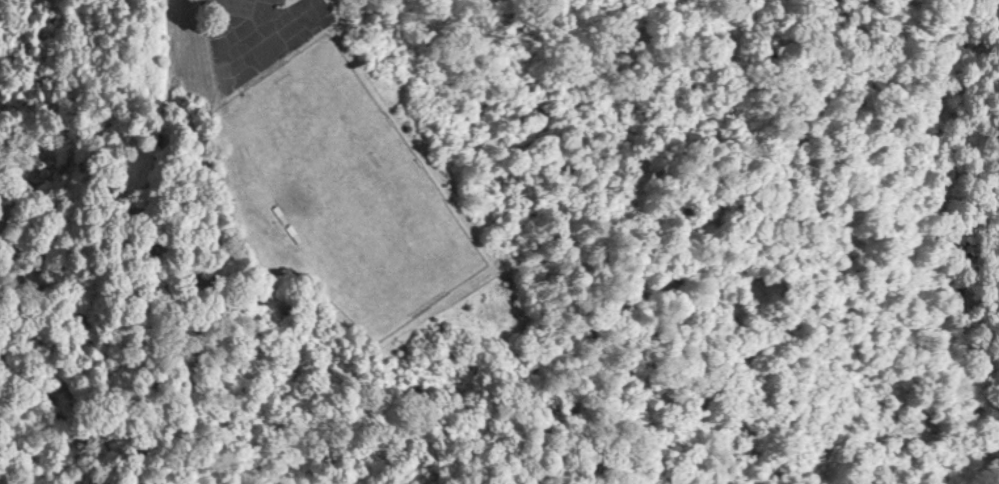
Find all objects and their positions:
road: (266, 20)
road: (243, 51)
park: (345, 189)

